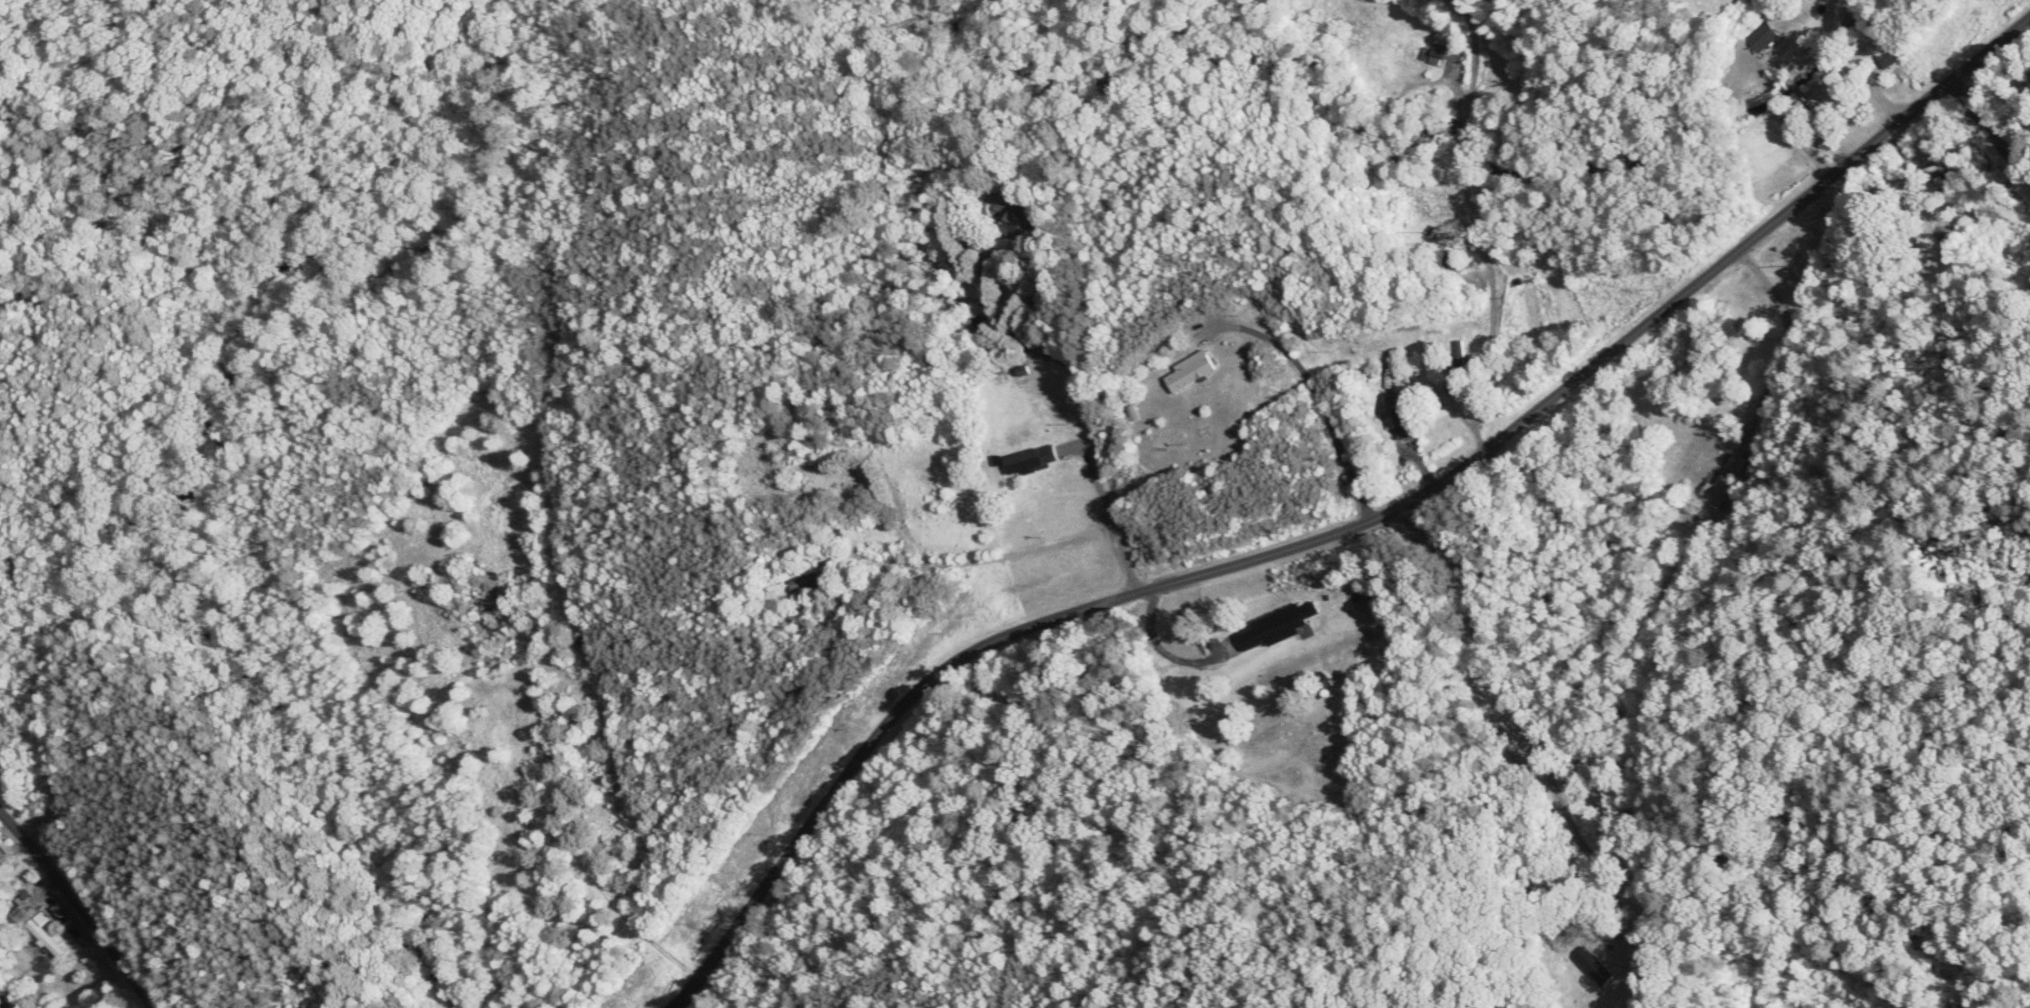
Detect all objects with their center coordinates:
building: (1754, 37)
building: (1439, 55)
building: (1882, 61)
road: (1764, 122)
road: (1989, 132)
river: (1363, 137)
building: (1931, 168)
building: (1020, 225)
road: (1477, 226)
building: (1440, 240)
building: (970, 329)
road: (1788, 338)
building: (1193, 373)
road: (1323, 406)
road: (1083, 414)
building: (1402, 421)
building: (1035, 461)
river: (223, 466)
building: (1716, 480)
building: (789, 484)
road: (1343, 532)
building: (811, 585)
building: (1276, 628)
road: (1161, 650)
building: (1, 856)
road: (79, 907)
building: (25, 915)
river: (0, 1007)

